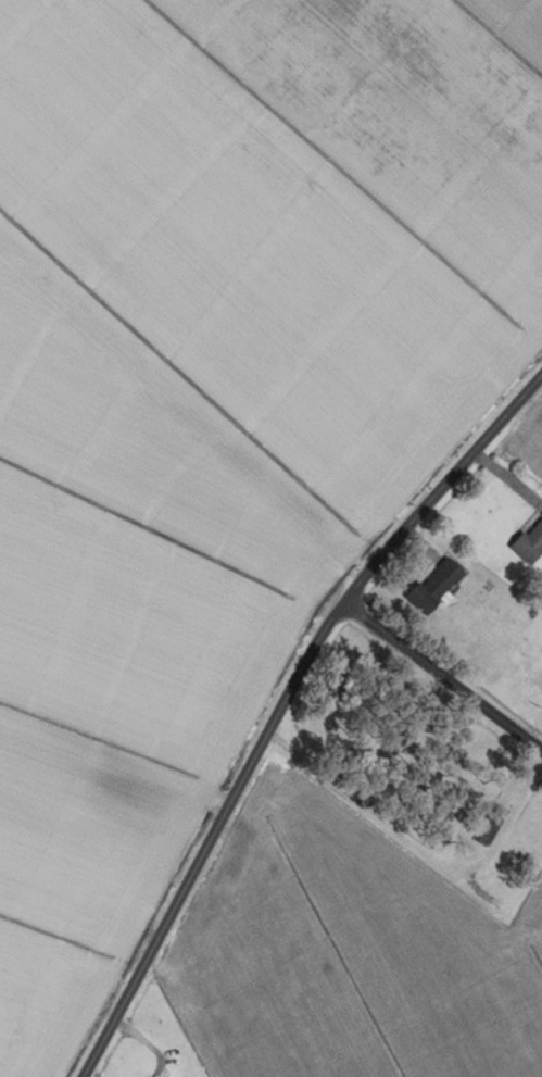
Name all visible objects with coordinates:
building: (529, 543)
building: (434, 585)
road: (441, 676)
road: (279, 705)
building: (396, 774)
building: (491, 825)

